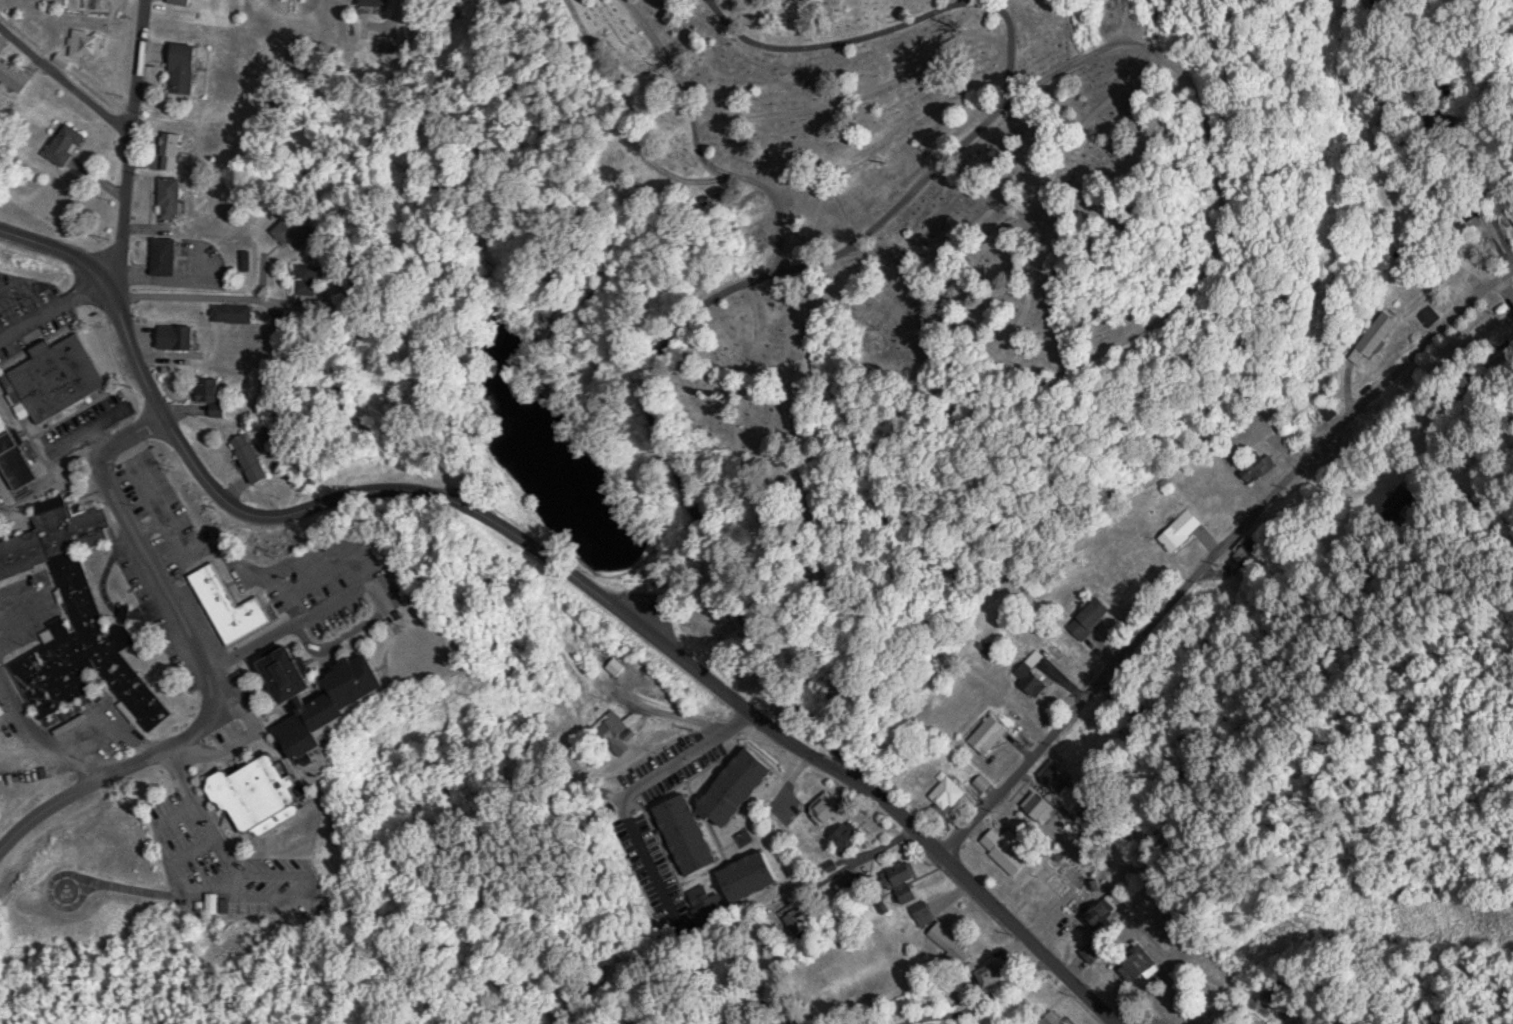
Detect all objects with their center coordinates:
building: (186, 2)
building: (377, 3)
building: (88, 43)
building: (190, 69)
building: (15, 75)
road: (68, 84)
road: (137, 139)
building: (69, 145)
building: (174, 151)
road: (890, 211)
building: (1512, 211)
road: (241, 215)
building: (296, 232)
road: (52, 248)
building: (166, 256)
building: (313, 283)
park: (889, 286)
road: (51, 306)
building: (238, 314)
building: (1430, 316)
building: (181, 336)
building: (1381, 339)
building: (56, 376)
building: (257, 458)
building: (1263, 469)
building: (1216, 495)
building: (1182, 530)
road: (1213, 563)
road: (600, 593)
building: (232, 606)
building: (1092, 617)
building: (77, 618)
road: (531, 640)
road: (209, 661)
building: (618, 665)
building: (1034, 672)
building: (326, 695)
building: (2, 709)
building: (615, 724)
road: (40, 730)
building: (991, 733)
building: (986, 783)
building: (953, 793)
building: (260, 795)
building: (1041, 805)
building: (829, 807)
building: (716, 809)
building: (849, 836)
building: (1008, 848)
road: (804, 862)
building: (750, 876)
building: (903, 881)
building: (1057, 882)
building: (848, 884)
building: (214, 902)
building: (923, 912)
building: (1102, 912)
building: (798, 919)
building: (950, 942)
building: (1093, 949)
building: (1137, 969)
building: (994, 974)
road: (980, 1000)

